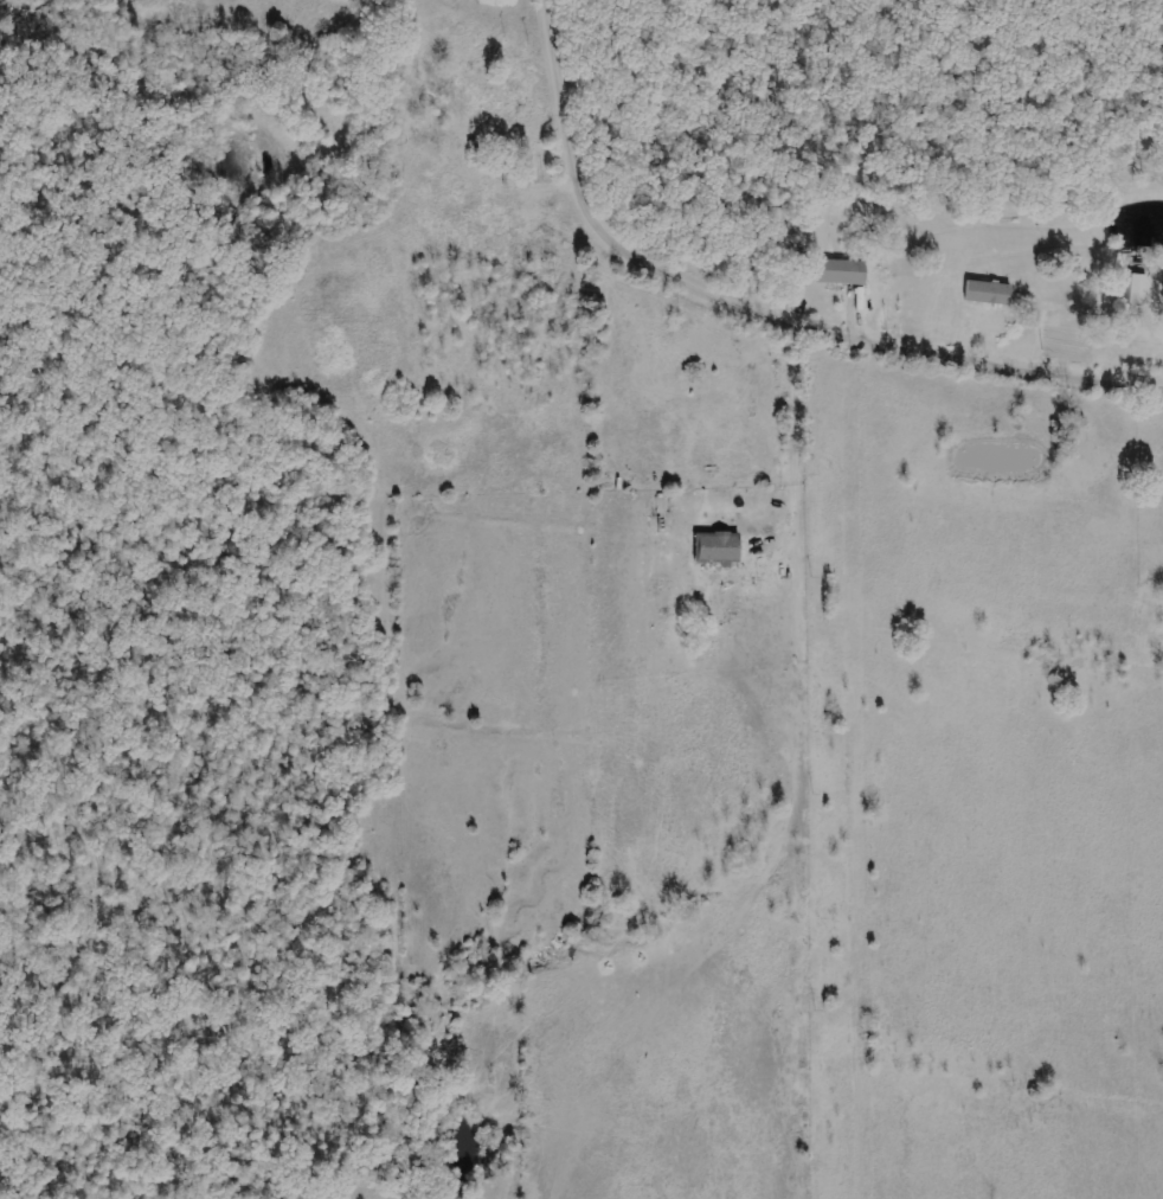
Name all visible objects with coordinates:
building: (843, 272)
building: (1137, 290)
building: (989, 293)
road: (757, 312)
building: (718, 547)

